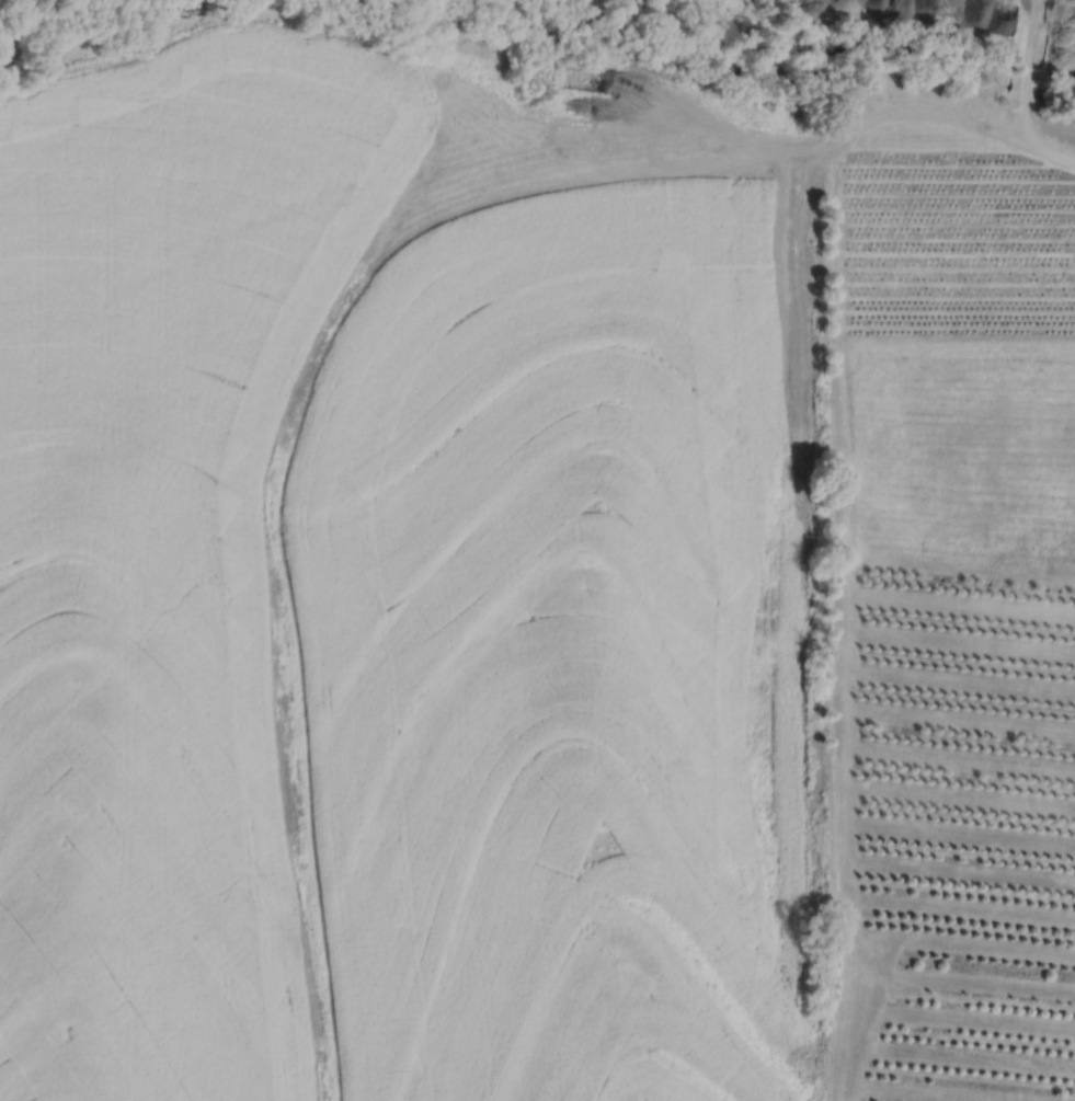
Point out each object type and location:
crop: (410, 550)

